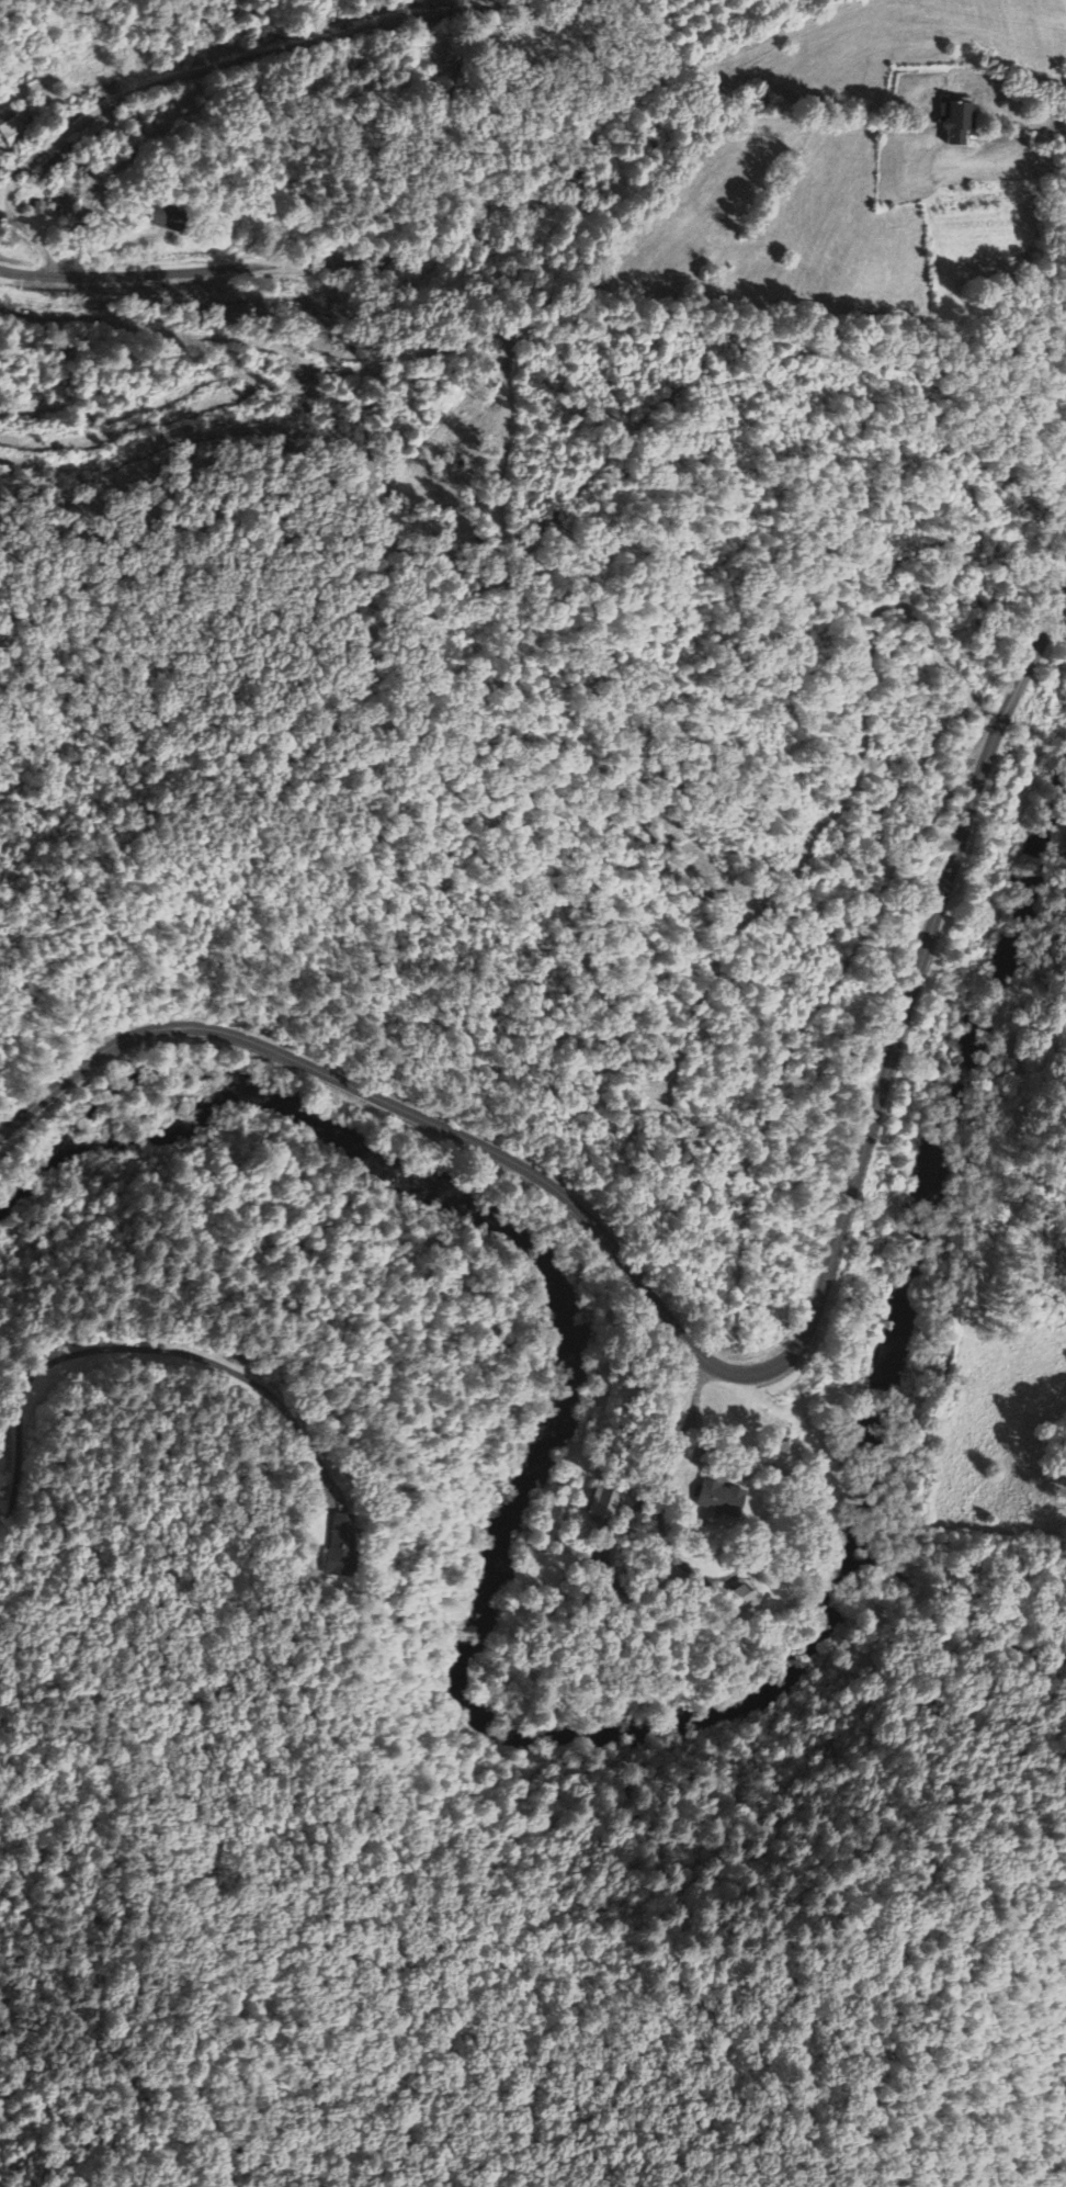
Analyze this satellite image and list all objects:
road: (193, 72)
building: (955, 123)
road: (1043, 128)
building: (11, 131)
road: (554, 190)
building: (169, 219)
road: (173, 270)
road: (729, 1371)
building: (719, 1499)
building: (339, 1547)
building: (739, 1600)

